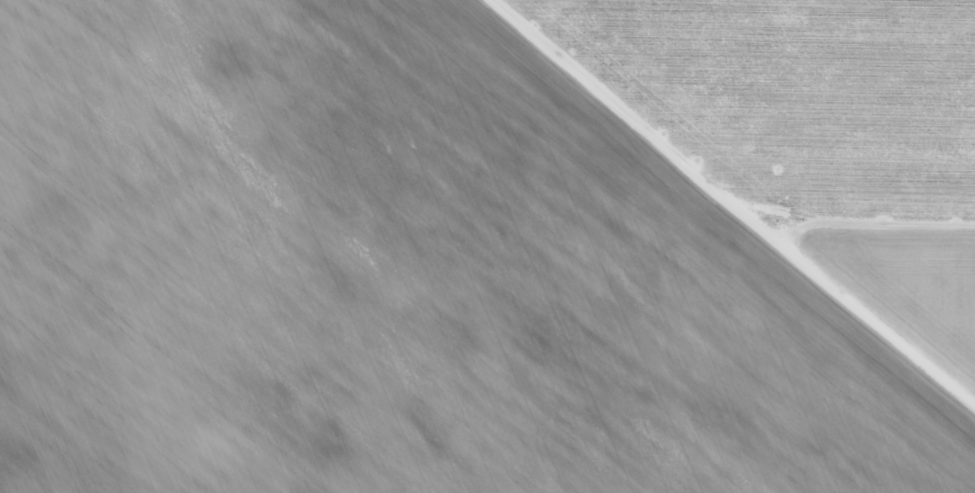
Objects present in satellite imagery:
road: (757, 179)
road: (931, 241)

